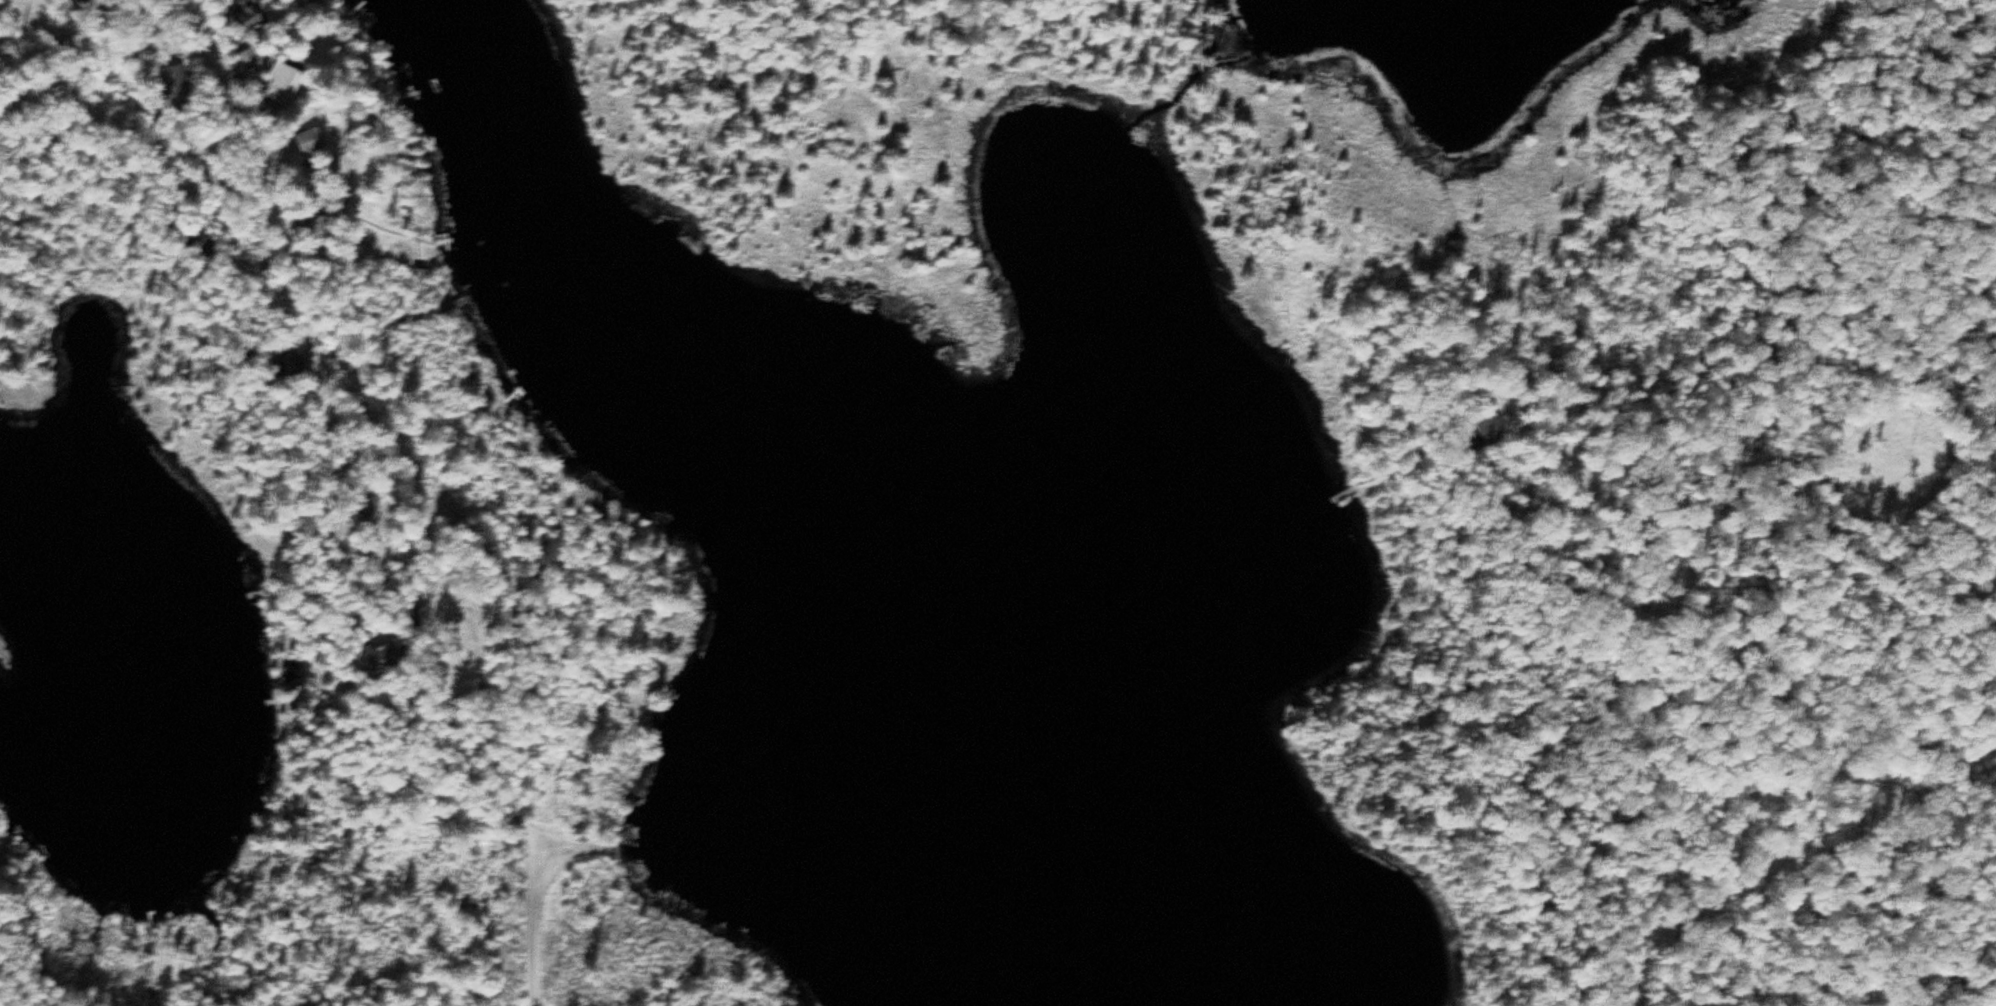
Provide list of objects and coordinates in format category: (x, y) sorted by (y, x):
building: (85, 3)
building: (249, 14)
building: (255, 61)
road: (221, 67)
building: (176, 82)
building: (285, 82)
road: (92, 107)
building: (315, 139)
road: (266, 194)
building: (196, 232)
building: (288, 367)
building: (1491, 427)
building: (371, 504)
road: (398, 606)
road: (1756, 826)
road: (574, 848)
road: (534, 921)

